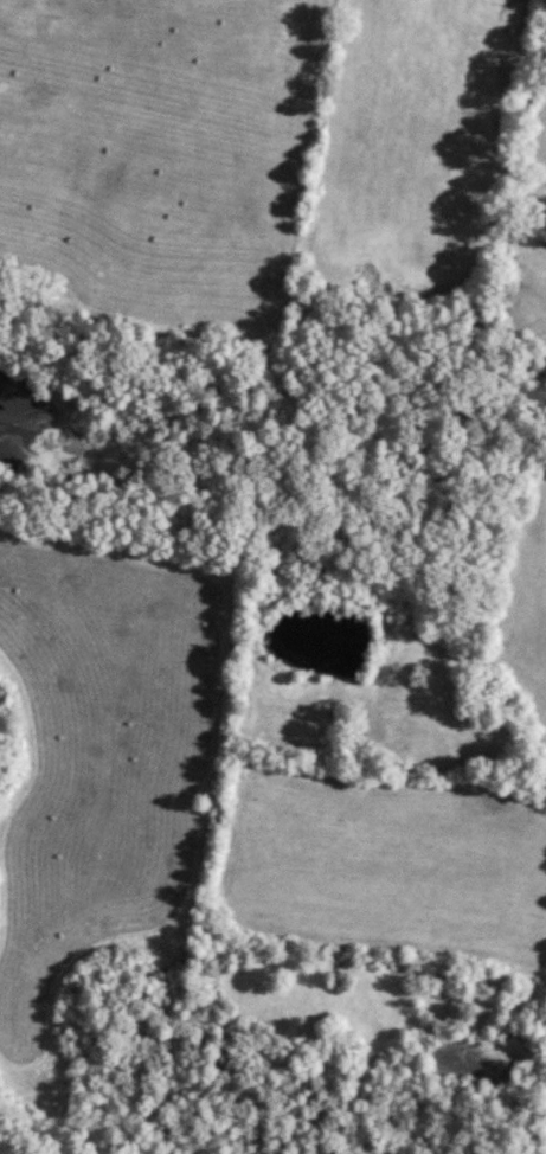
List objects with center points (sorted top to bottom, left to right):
building: (539, 209)

